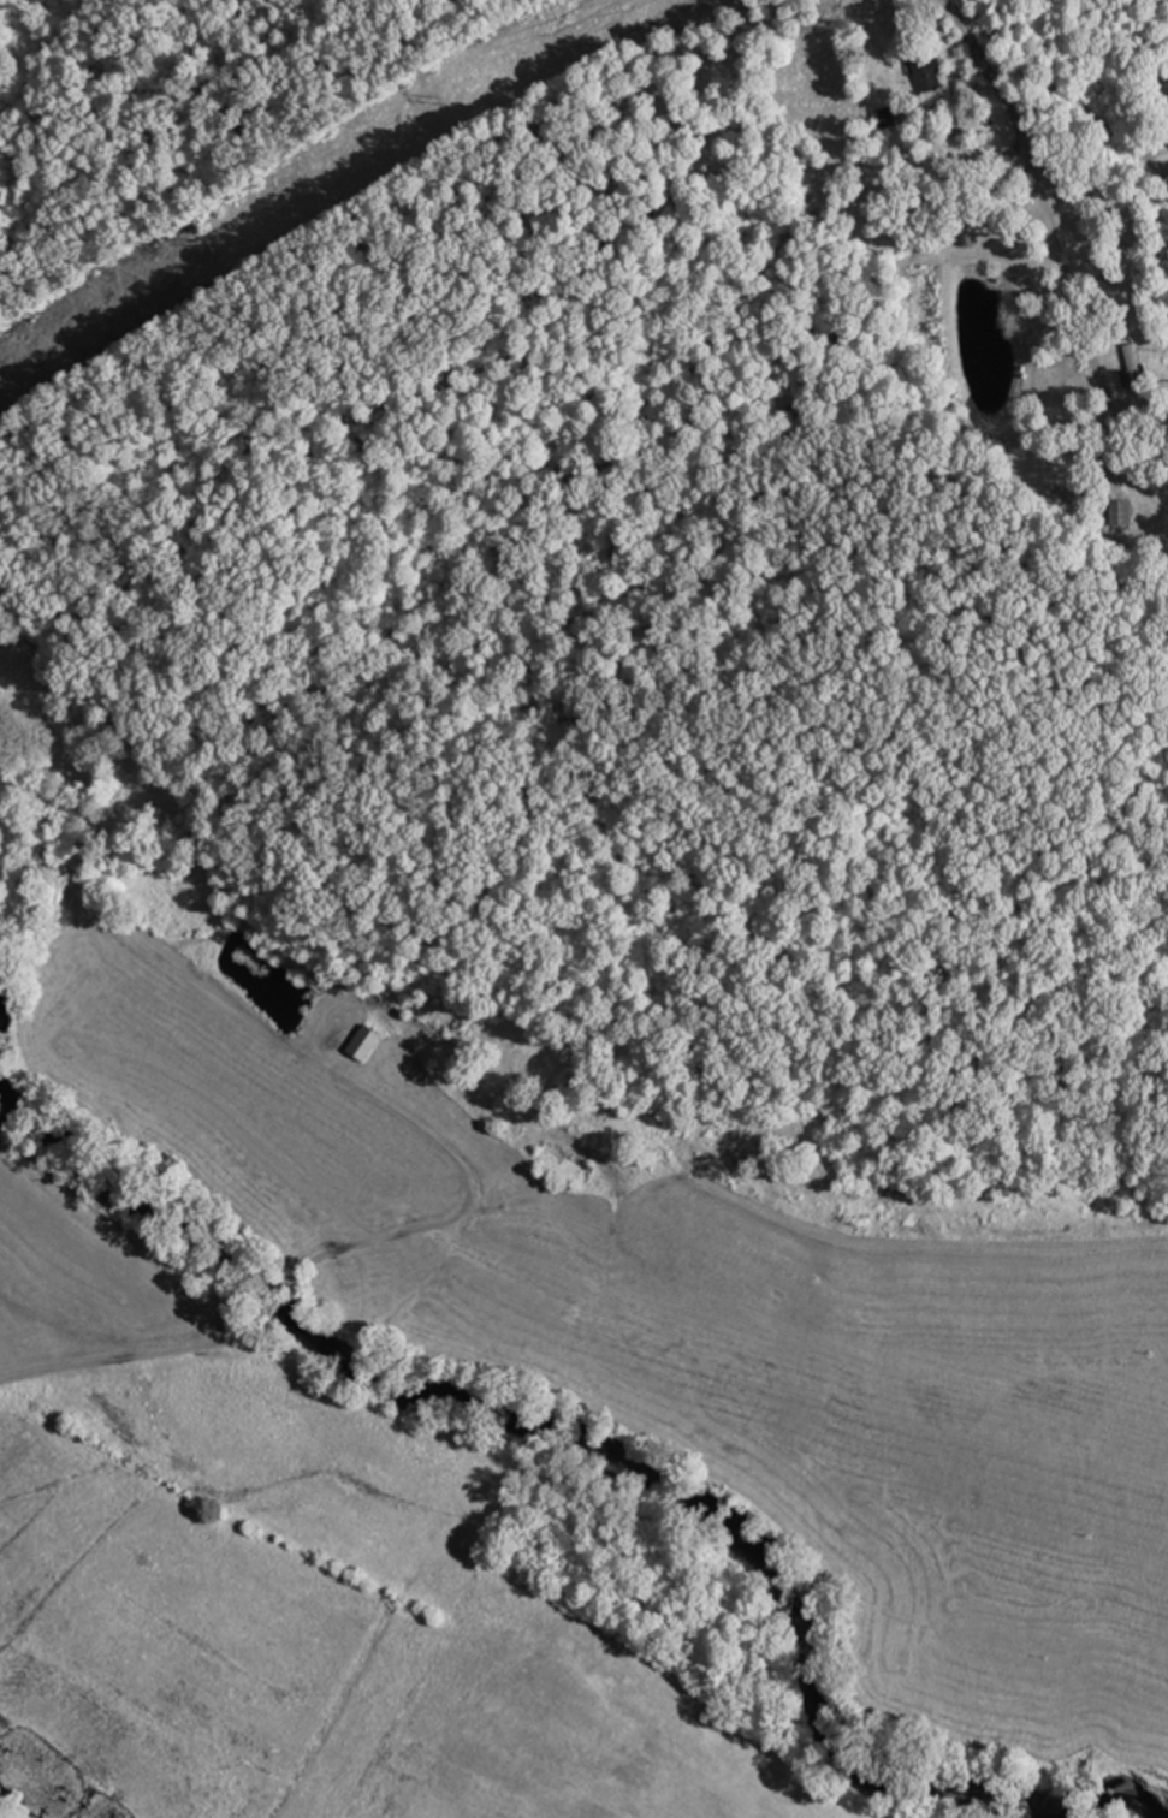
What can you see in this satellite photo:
building: (927, 70)
road: (998, 87)
building: (888, 119)
building: (1137, 369)
building: (1122, 512)
road: (268, 1039)
building: (367, 1042)
road: (277, 1296)
road: (131, 1356)
river: (612, 1463)

